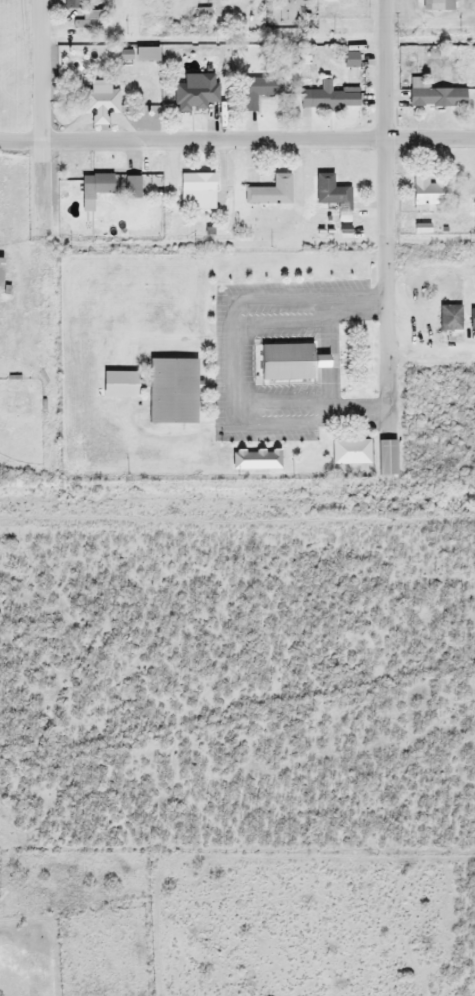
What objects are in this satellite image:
building: (72, 4)
building: (437, 5)
building: (259, 90)
building: (195, 93)
building: (435, 96)
building: (328, 97)
building: (101, 103)
road: (39, 112)
road: (237, 138)
building: (94, 184)
building: (130, 186)
building: (196, 190)
building: (270, 192)
building: (331, 192)
building: (426, 192)
road: (385, 218)
building: (0, 272)
building: (449, 318)
building: (471, 319)
road: (431, 355)
building: (283, 361)
building: (118, 384)
building: (169, 392)
building: (350, 451)
building: (386, 457)

